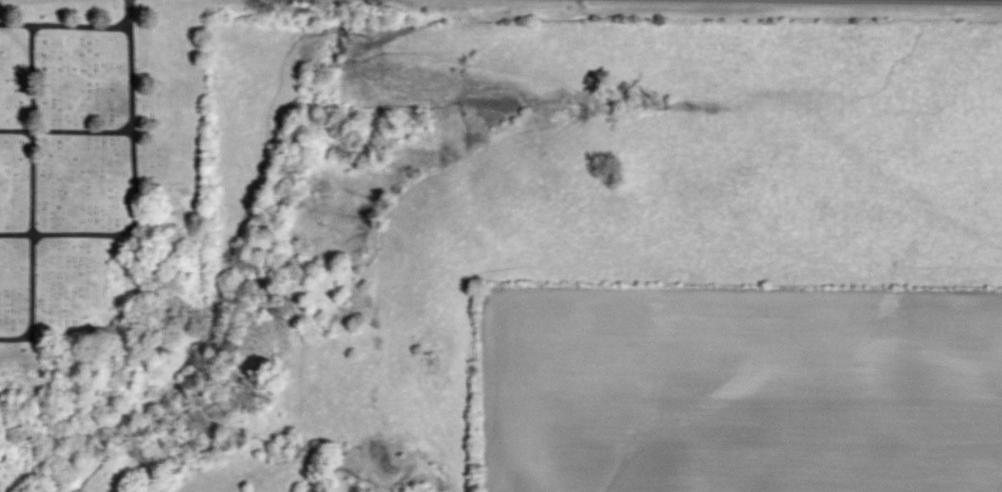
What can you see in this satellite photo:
park: (93, 147)

